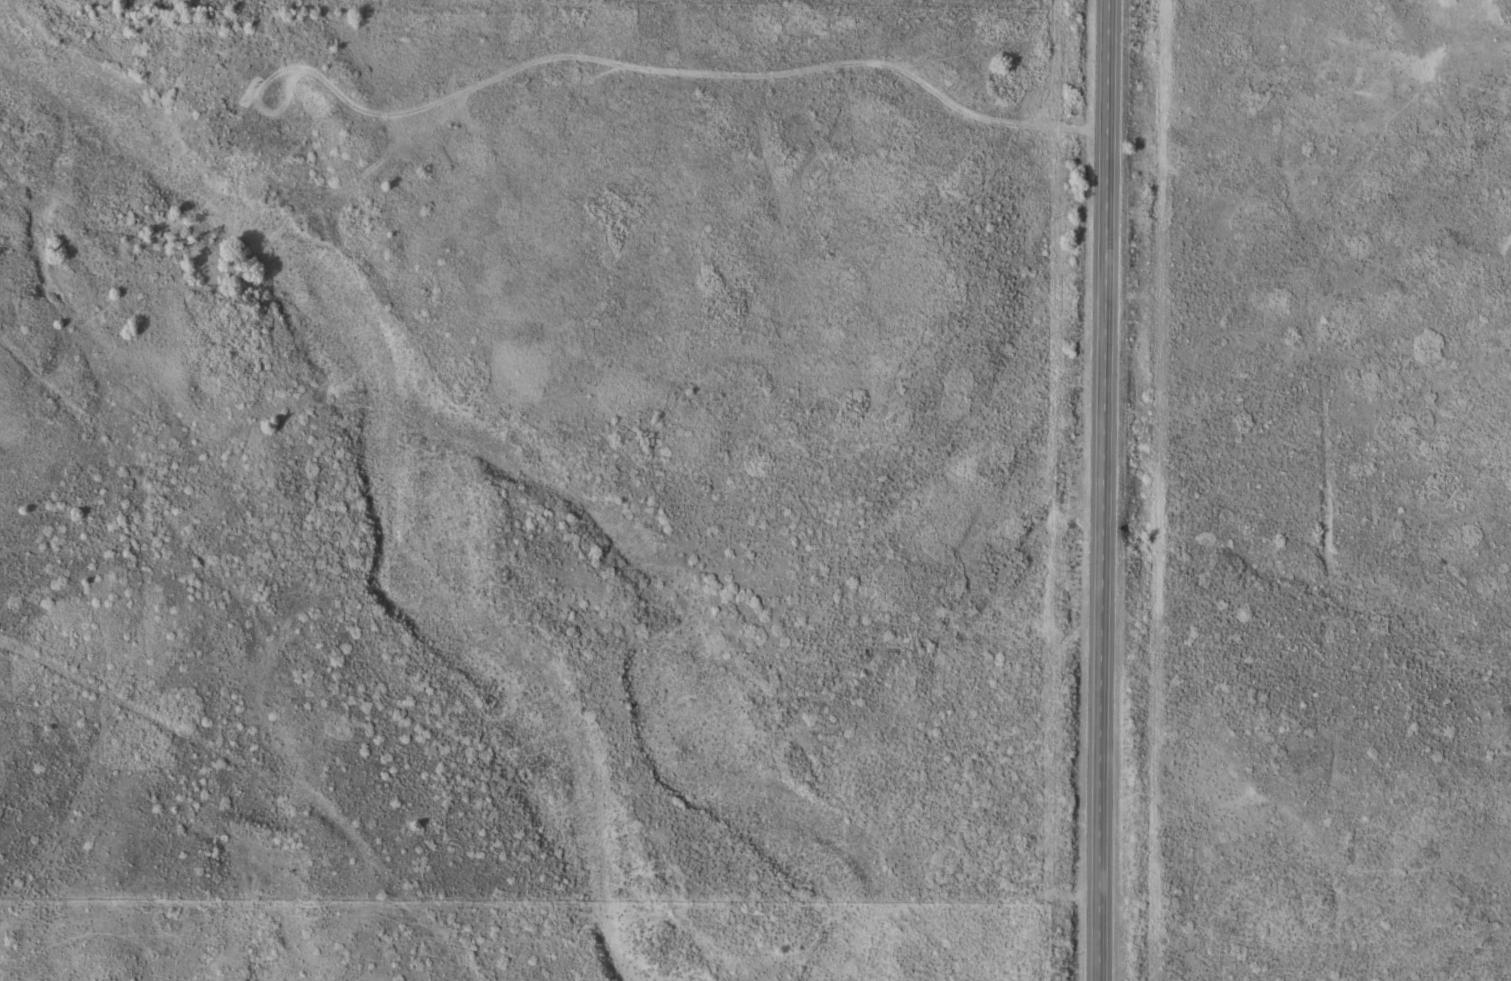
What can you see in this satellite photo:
road: (1118, 490)

